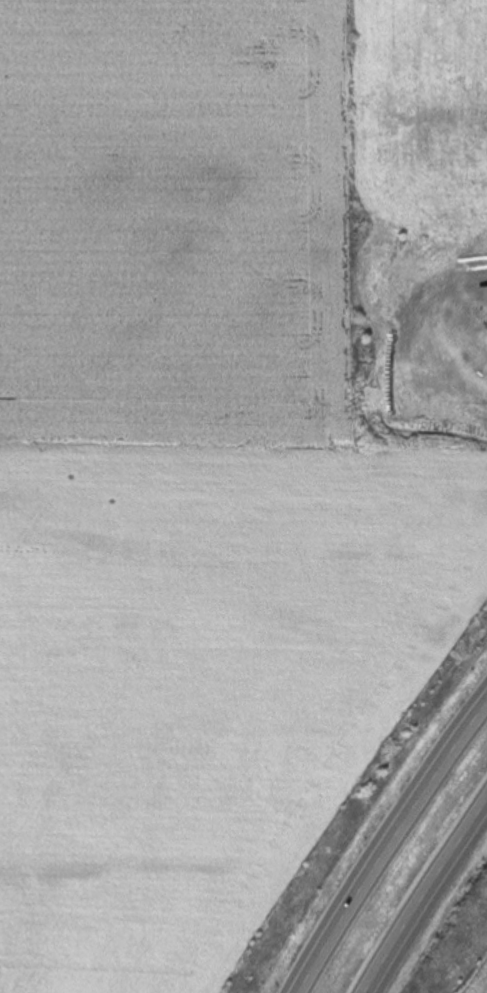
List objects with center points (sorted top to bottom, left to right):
road: (389, 849)
road: (425, 900)

